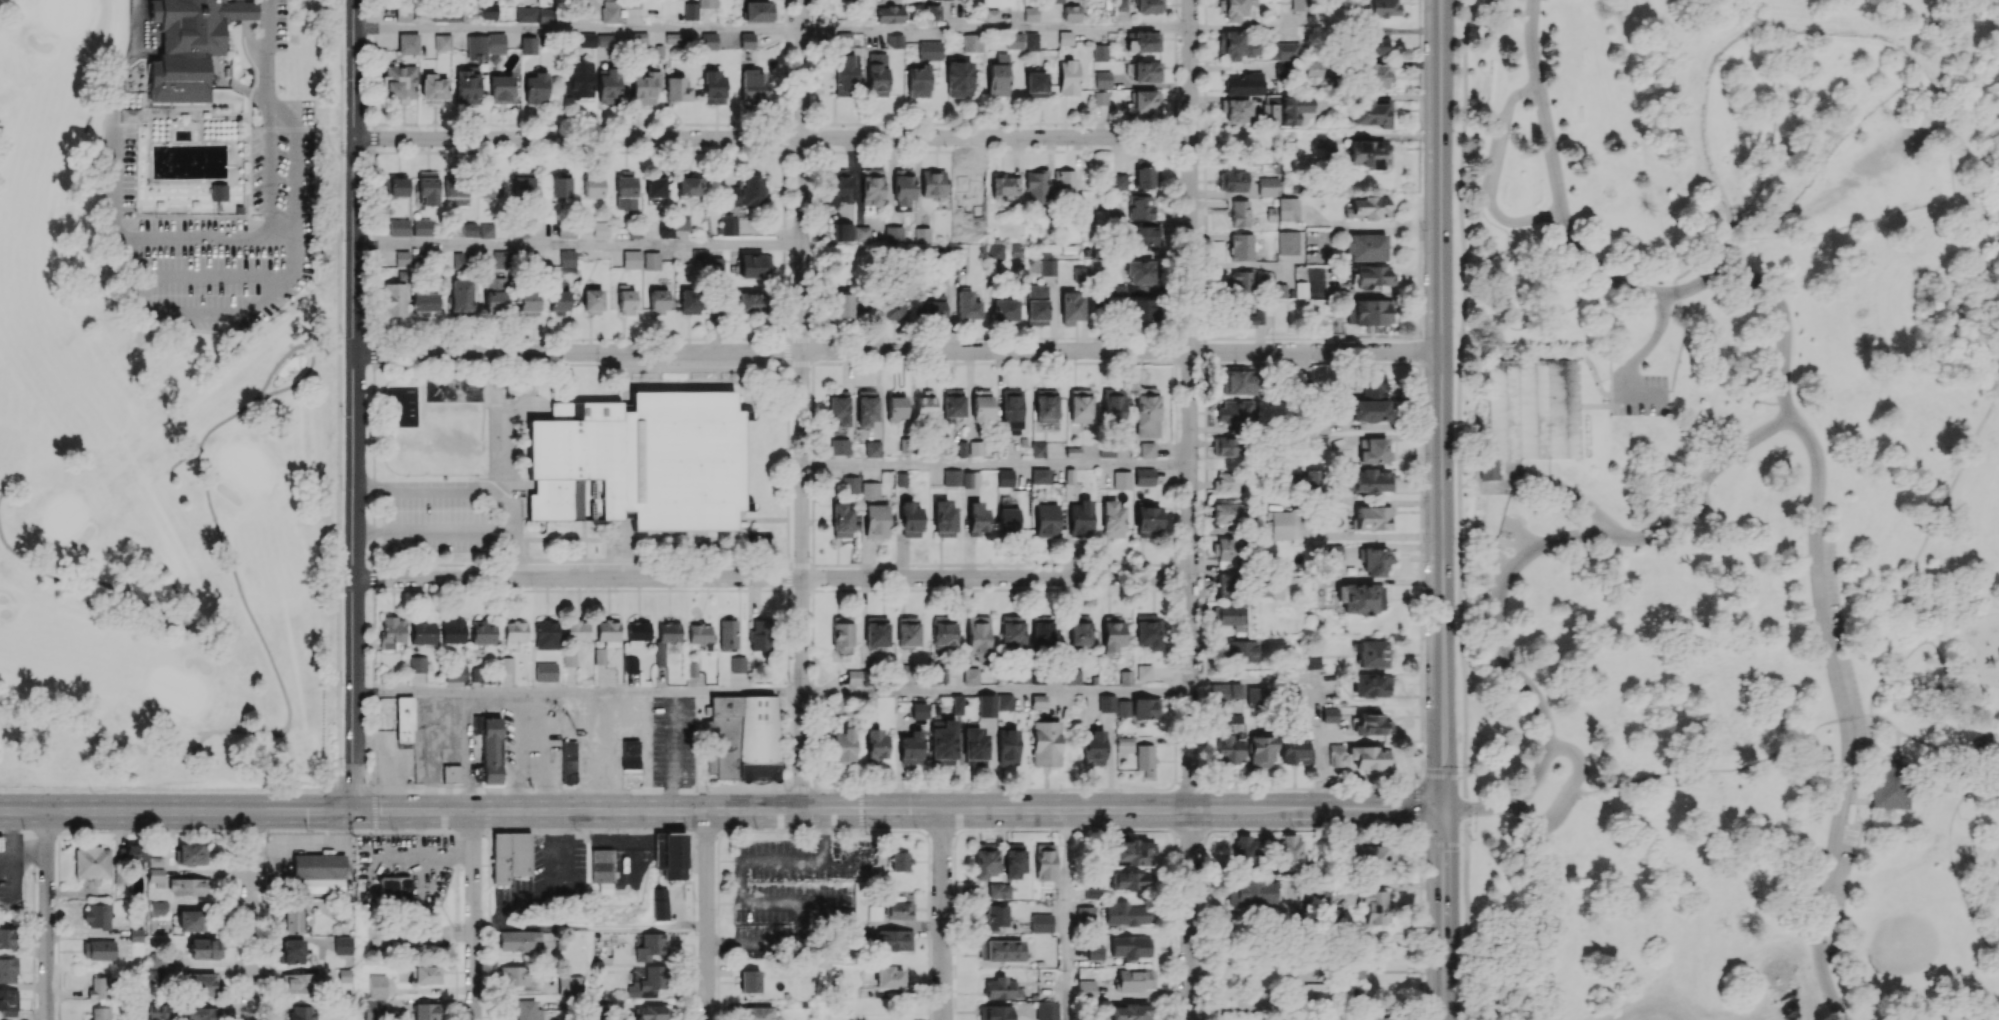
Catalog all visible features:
building: (708, 3)
building: (633, 4)
building: (1120, 5)
building: (1300, 5)
building: (1149, 6)
building: (1233, 8)
building: (1381, 8)
building: (489, 10)
building: (154, 11)
building: (246, 11)
building: (609, 11)
building: (690, 11)
building: (758, 11)
building: (932, 12)
park: (65, 13)
building: (889, 13)
building: (1071, 13)
building: (403, 14)
building: (525, 14)
building: (546, 14)
building: (1030, 14)
parking lot: (279, 26)
road: (137, 27)
road: (773, 27)
road: (1754, 27)
road: (250, 37)
building: (1064, 37)
building: (586, 39)
building: (605, 40)
building: (638, 40)
building: (746, 40)
building: (844, 40)
building: (894, 40)
building: (442, 41)
building: (710, 41)
building: (1022, 41)
building: (972, 42)
building: (1144, 42)
building: (408, 43)
building: (485, 44)
building: (1373, 44)
building: (528, 45)
building: (1238, 46)
building: (187, 49)
road: (269, 50)
building: (929, 50)
building: (1283, 50)
building: (1099, 52)
street lamp: (1420, 53)
building: (1314, 68)
building: (1146, 71)
building: (844, 73)
building: (876, 74)
building: (998, 76)
building: (1373, 76)
building: (1068, 77)
building: (579, 79)
building: (959, 79)
building: (1102, 79)
building: (918, 81)
building: (399, 82)
building: (1036, 84)
building: (1243, 84)
building: (467, 85)
building: (608, 86)
building: (754, 86)
building: (434, 87)
building: (644, 87)
road: (243, 88)
building: (535, 88)
building: (713, 88)
building: (501, 89)
building: (676, 89)
building: (1100, 98)
building: (1146, 101)
street lamp: (1520, 103)
building: (1293, 108)
building: (1236, 110)
road: (290, 112)
building: (1371, 112)
building: (1270, 113)
building: (130, 115)
street lamp: (1453, 131)
road: (773, 136)
road: (1640, 138)
parking lot: (1494, 149)
building: (1368, 153)
street lamp: (1570, 170)
road: (1493, 173)
road: (1957, 173)
building: (1144, 174)
road: (800, 175)
building: (1232, 180)
building: (1119, 181)
building: (932, 182)
building: (1065, 182)
building: (522, 183)
building: (489, 184)
building: (560, 184)
building: (655, 185)
building: (690, 185)
building: (1037, 185)
building: (395, 186)
building: (836, 186)
building: (1005, 186)
building: (1268, 186)
building: (428, 187)
building: (593, 187)
building: (871, 187)
building: (903, 188)
building: (456, 189)
building: (219, 192)
building: (625, 192)
building: (746, 193)
building: (1140, 207)
building: (1368, 207)
building: (1287, 209)
building: (239, 210)
building: (1239, 213)
building: (682, 222)
building: (421, 226)
building: (727, 226)
building: (399, 227)
road: (123, 228)
building: (469, 228)
street lamp: (1420, 228)
building: (486, 229)
building: (566, 230)
building: (666, 230)
building: (842, 231)
building: (601, 232)
building: (861, 233)
building: (893, 233)
parking lot: (217, 234)
building: (922, 234)
building: (1144, 235)
building: (1287, 242)
road: (578, 245)
building: (1241, 246)
building: (1365, 247)
road: (1711, 248)
building: (995, 250)
street lamp: (1757, 252)
building: (698, 253)
building: (567, 257)
building: (402, 258)
building: (500, 258)
building: (631, 259)
building: (651, 260)
building: (716, 264)
building: (1048, 264)
building: (754, 265)
building: (1141, 272)
road: (196, 274)
building: (1370, 276)
building: (1242, 281)
building: (1300, 289)
building: (1116, 290)
building: (1280, 290)
building: (495, 291)
building: (615, 294)
building: (461, 295)
building: (394, 299)
building: (626, 299)
building: (425, 300)
building: (559, 301)
building: (592, 301)
building: (658, 301)
building: (690, 301)
building: (749, 303)
building: (528, 304)
building: (1037, 304)
building: (967, 305)
building: (843, 306)
building: (891, 307)
building: (934, 307)
building: (1071, 307)
building: (1004, 309)
building: (1141, 309)
building: (1372, 311)
road: (213, 312)
road: (1550, 314)
building: (1250, 315)
road: (1920, 319)
street lamp: (1456, 333)
road: (1645, 347)
road: (1118, 350)
road: (310, 352)
road: (579, 352)
road: (1562, 356)
road: (1712, 356)
road: (1676, 360)
building: (1239, 381)
building: (1375, 385)
building: (476, 390)
park: (167, 392)
parking lot: (1638, 393)
road: (1639, 394)
street lamp: (1800, 400)
road: (340, 401)
building: (924, 403)
building: (953, 403)
road: (1437, 404)
road: (357, 405)
building: (981, 405)
building: (1046, 405)
building: (1080, 405)
building: (1113, 406)
building: (838, 407)
building: (866, 407)
road: (1592, 407)
building: (895, 408)
building: (1368, 410)
building: (1531, 410)
building: (1011, 411)
building: (1237, 411)
building: (1146, 414)
road: (1795, 424)
building: (1320, 425)
road: (210, 431)
building: (1319, 441)
building: (839, 446)
building: (1226, 446)
building: (976, 448)
building: (872, 449)
building: (1038, 449)
building: (1146, 449)
park: (443, 450)
building: (1373, 451)
building: (640, 462)
road: (801, 463)
street lamp: (1419, 463)
park: (244, 465)
road: (996, 465)
building: (1489, 468)
building: (1039, 475)
building: (1144, 476)
building: (951, 477)
building: (1005, 477)
building: (902, 479)
building: (967, 479)
building: (1121, 479)
building: (1372, 480)
building: (1226, 481)
building: (850, 484)
road: (1489, 486)
road: (426, 487)
road: (515, 487)
building: (870, 490)
road: (3, 491)
road: (1696, 491)
road: (1458, 509)
park: (1726, 509)
road: (1190, 510)
building: (1226, 513)
park: (65, 514)
building: (627, 514)
parking lot: (437, 516)
building: (1147, 516)
building: (1080, 518)
building: (1112, 518)
building: (1373, 518)
parking lot: (1684, 518)
building: (910, 519)
building: (944, 519)
building: (975, 519)
building: (1007, 519)
building: (1046, 519)
building: (841, 520)
building: (876, 521)
building: (1280, 524)
road: (515, 528)
road: (436, 531)
road: (1521, 531)
street lamp: (1422, 540)
building: (1227, 551)
building: (1335, 552)
building: (1375, 561)
road: (32, 564)
street lamp: (1807, 570)
road: (1908, 574)
road: (579, 576)
road: (996, 576)
building: (1227, 585)
building: (1261, 589)
building: (1362, 598)
building: (1228, 614)
building: (577, 630)
building: (1078, 630)
building: (392, 631)
building: (453, 631)
building: (483, 631)
building: (876, 631)
building: (1011, 631)
building: (1147, 631)
building: (422, 632)
building: (514, 632)
building: (608, 632)
building: (637, 632)
building: (908, 632)
building: (944, 632)
building: (1041, 632)
building: (842, 633)
building: (1112, 633)
building: (727, 634)
building: (546, 635)
building: (701, 635)
building: (976, 635)
building: (761, 637)
building: (665, 638)
parking lot: (1839, 645)
building: (1239, 650)
building: (1370, 653)
building: (599, 655)
building: (569, 658)
building: (1314, 661)
building: (737, 663)
road: (273, 664)
building: (417, 664)
building: (507, 664)
building: (631, 664)
building: (691, 669)
building: (545, 671)
building: (904, 671)
building: (1144, 672)
building: (939, 673)
building: (455, 674)
building: (1020, 675)
building: (970, 676)
building: (1072, 676)
road: (1889, 676)
building: (853, 677)
building: (1126, 677)
road: (1521, 679)
building: (1372, 684)
park: (175, 687)
building: (1226, 690)
road: (902, 692)
road: (802, 693)
building: (1257, 694)
building: (1293, 695)
building: (1038, 700)
building: (1005, 701)
building: (1107, 703)
building: (957, 705)
building: (986, 705)
street lamp: (1423, 706)
building: (1123, 708)
building: (1146, 708)
street lamp: (1974, 708)
building: (918, 710)
building: (1330, 714)
building: (1230, 718)
building: (404, 719)
building: (1372, 725)
road: (1818, 725)
building: (744, 737)
road: (1981, 742)
building: (943, 743)
building: (1045, 743)
building: (1124, 743)
building: (843, 745)
building: (876, 746)
building: (974, 746)
building: (1007, 746)
road: (1897, 746)
road: (1932, 746)
building: (910, 748)
building: (1093, 748)
building: (1227, 749)
building: (490, 750)
road: (468, 751)
building: (1261, 752)
building: (1294, 752)
building: (1337, 754)
building: (630, 755)
building: (1371, 758)
building: (1145, 759)
street lamp: (1833, 760)
building: (568, 761)
road: (1684, 771)
building: (450, 773)
street lamp: (1709, 774)
street lamp: (1461, 777)
road: (1857, 783)
building: (1888, 786)
road: (1939, 789)
parking lot: (1571, 790)
road: (168, 791)
road: (1568, 797)
road: (1854, 801)
traffic signals: (1441, 808)
traffic signals: (355, 810)
traffic signals: (862, 810)
road: (720, 811)
street lamp: (1860, 816)
street lamp: (1461, 833)
building: (1, 844)
road: (23, 850)
building: (135, 852)
building: (1132, 852)
building: (1290, 852)
building: (192, 854)
building: (670, 854)
building: (509, 855)
building: (1372, 857)
road: (1949, 859)
building: (984, 860)
building: (155, 861)
building: (900, 861)
building: (1013, 861)
building: (91, 862)
building: (1044, 862)
building: (317, 867)
road: (741, 867)
building: (601, 869)
building: (156, 876)
building: (1129, 881)
building: (187, 886)
building: (394, 887)
building: (998, 890)
road: (1982, 890)
building: (1325, 900)
parking lot: (1834, 901)
building: (660, 903)
building: (1375, 906)
building: (158, 908)
building: (899, 908)
building: (874, 912)
road: (1555, 912)
building: (1127, 913)
road: (943, 914)
road: (1065, 914)
building: (1085, 914)
road: (1441, 914)
road: (47, 915)
road: (250, 915)
road: (471, 915)
road: (707, 915)
building: (96, 916)
building: (996, 917)
building: (189, 920)
building: (294, 920)
building: (1040, 922)
road: (602, 926)
street lamp: (1833, 930)
building: (7, 939)
building: (894, 939)
building: (519, 940)
road: (774, 943)
building: (343, 944)
building: (651, 945)
building: (1131, 946)
building: (205, 948)
building: (98, 949)
building: (1003, 950)
building: (292, 951)
building: (1095, 952)
building: (156, 959)
road: (1996, 963)
building: (1353, 971)
building: (427, 974)
building: (513, 975)
building: (889, 977)
building: (1135, 980)
building: (647, 981)
building: (749, 981)
building: (299, 982)
building: (200, 984)
building: (569, 985)
building: (377, 986)
building: (100, 987)
building: (1001, 988)
building: (1086, 989)
building: (1314, 991)
building: (8, 1003)
street lamp: (1822, 1006)
building: (375, 1010)
building: (527, 1010)
building: (428, 1011)
building: (1047, 1011)
building: (155, 1012)
building: (301, 1012)
building: (652, 1012)
building: (995, 1012)
building: (1130, 1012)
building: (100, 1013)
building: (201, 1013)
building: (1374, 1018)

